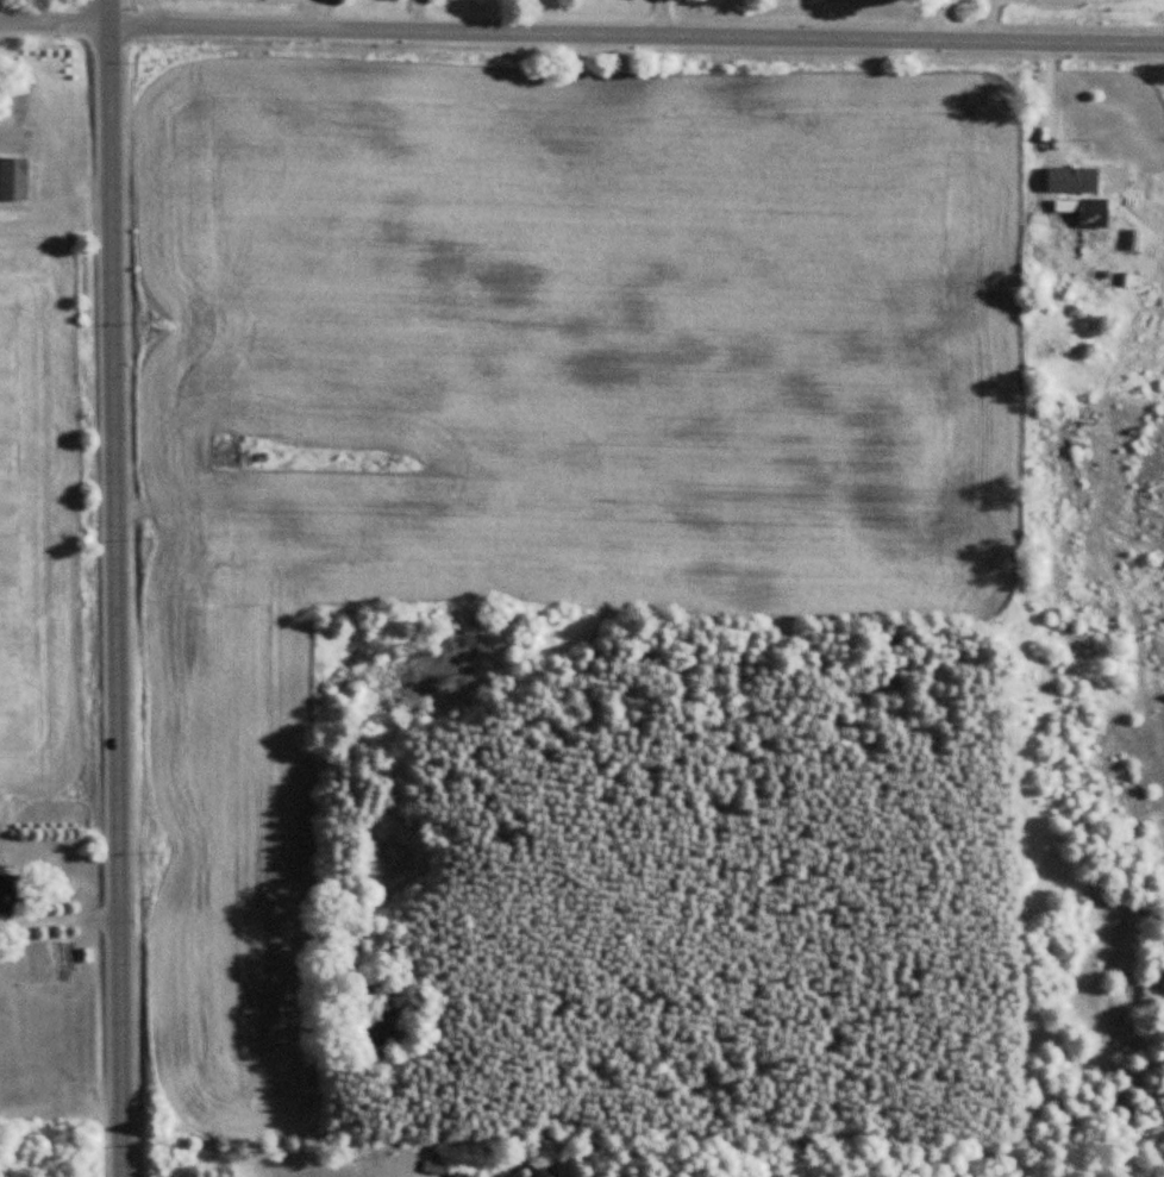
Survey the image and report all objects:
road: (582, 31)
building: (13, 179)
building: (1085, 212)
road: (115, 588)
building: (8, 894)

